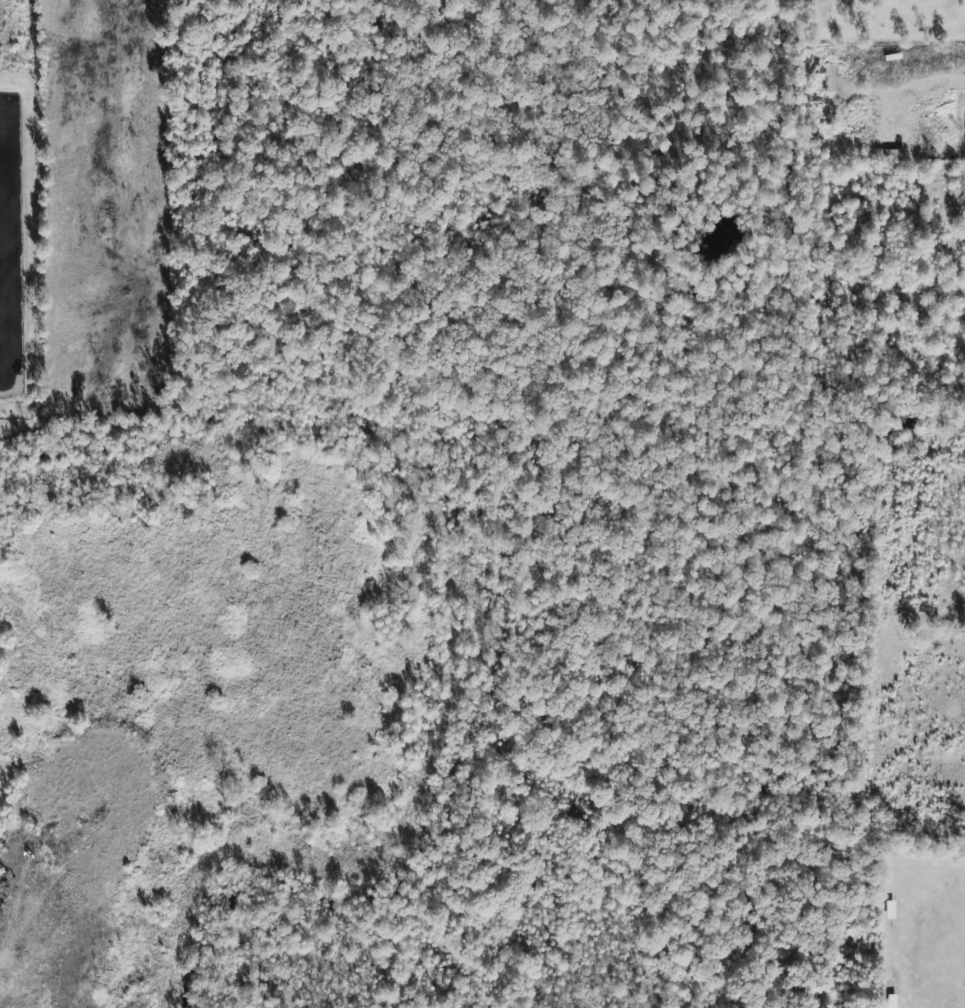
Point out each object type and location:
building: (894, 154)
park: (931, 936)

